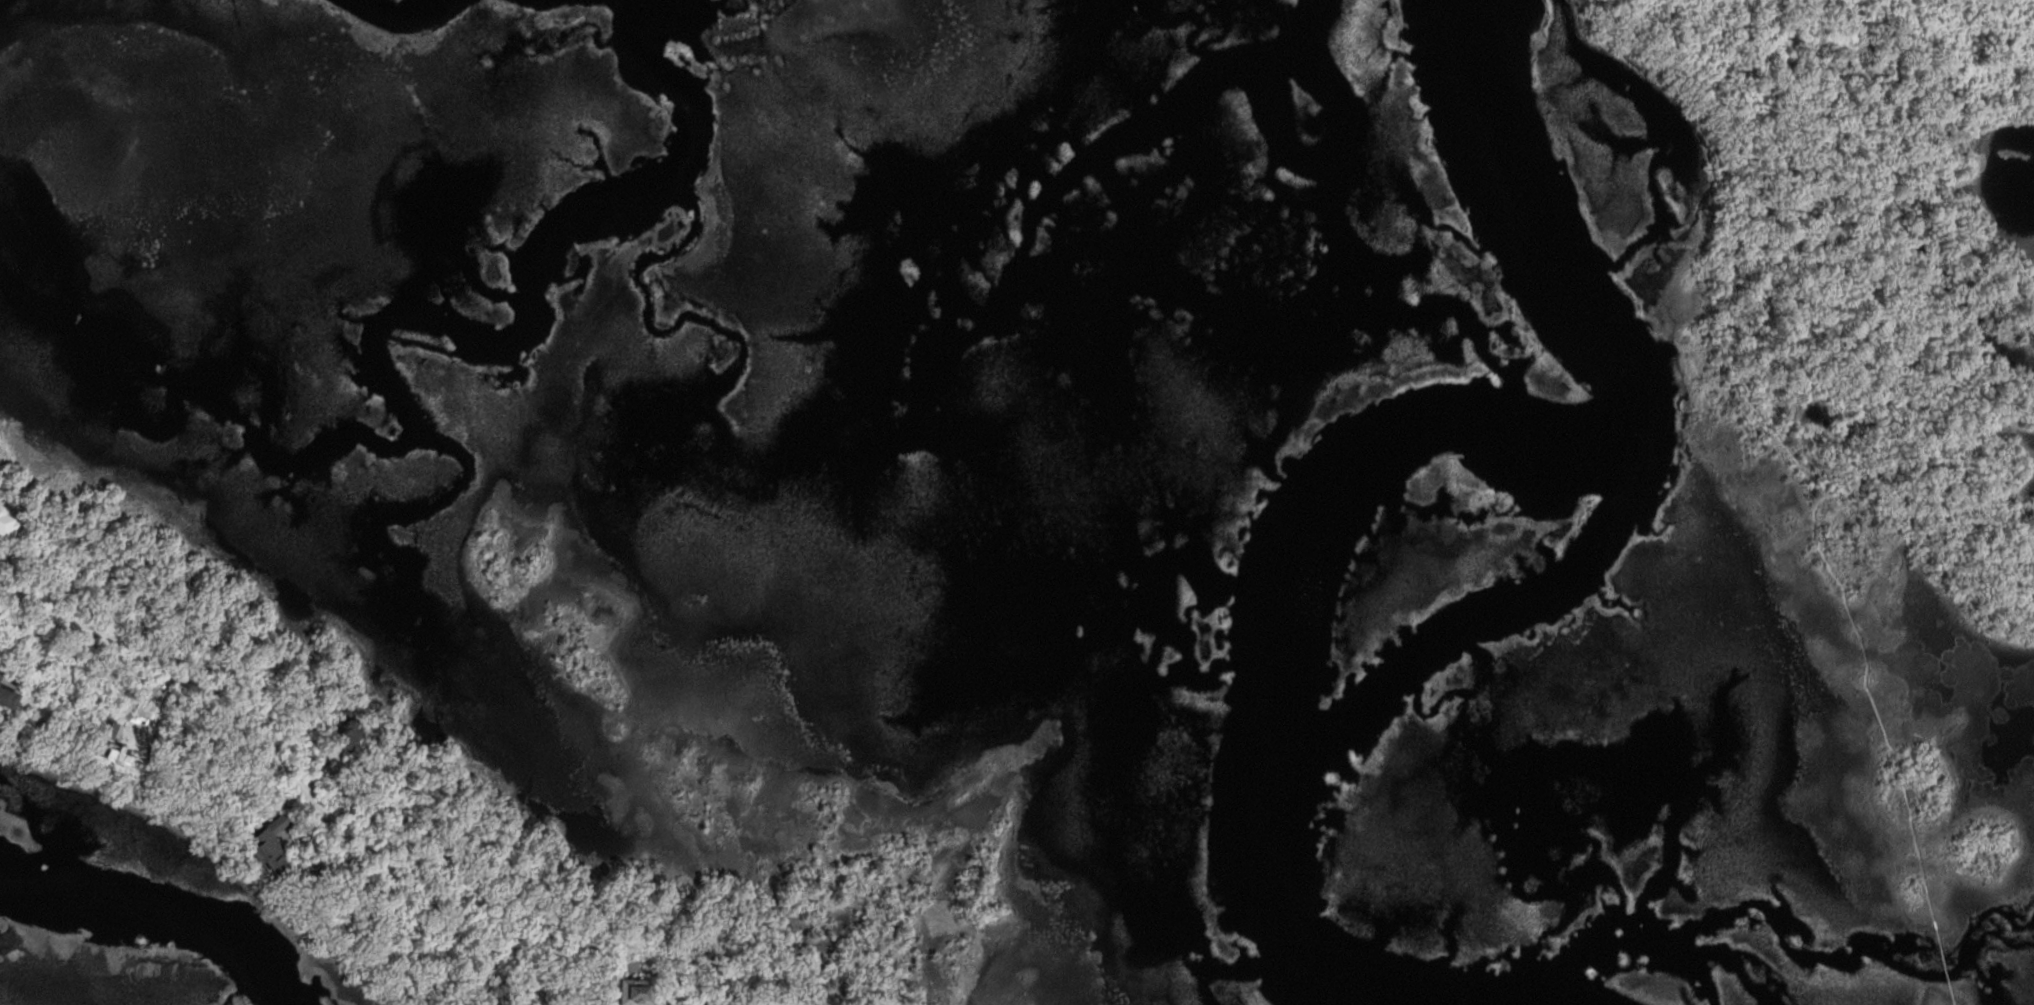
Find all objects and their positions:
building: (4, 530)
building: (2, 699)
building: (344, 733)
road: (282, 773)
building: (262, 841)
building: (478, 985)
building: (628, 991)

